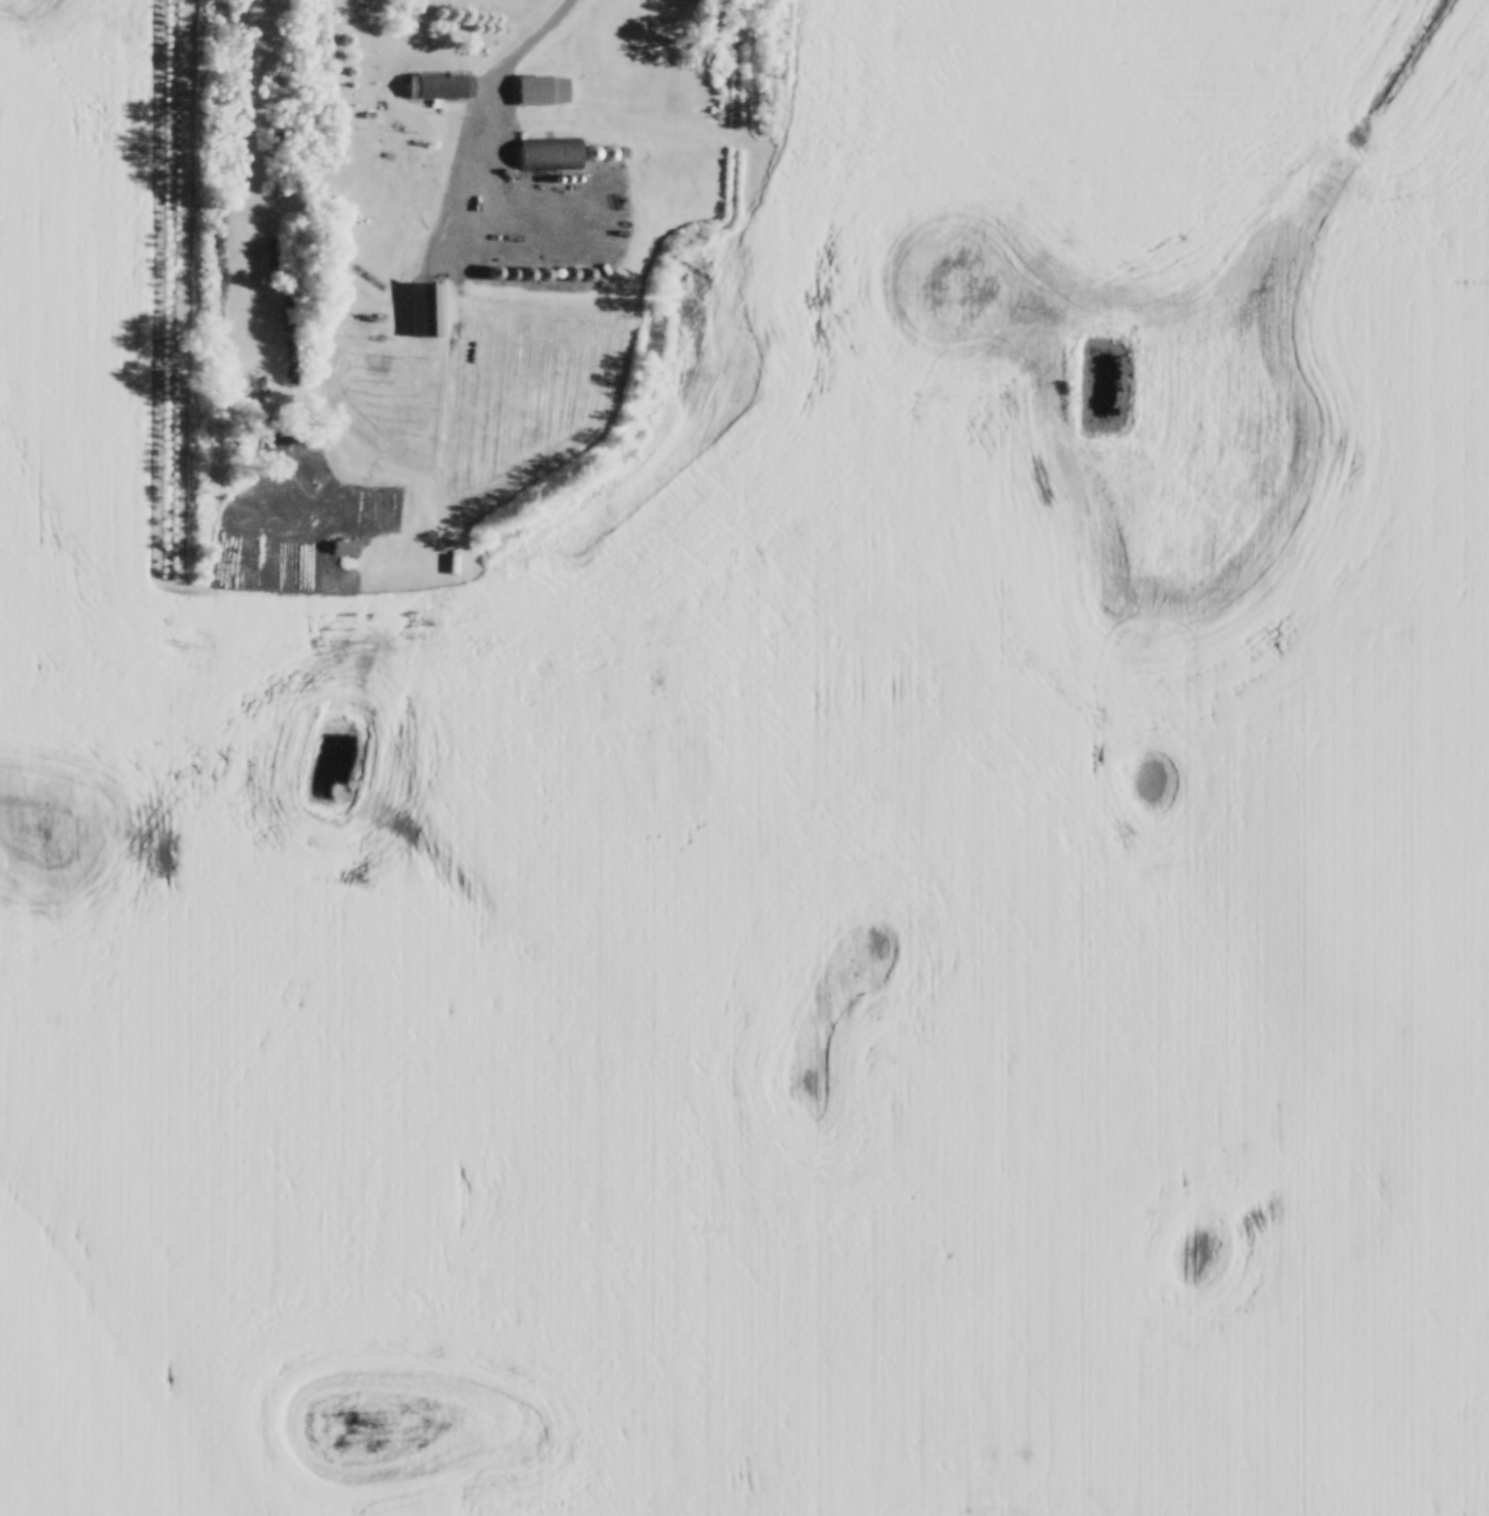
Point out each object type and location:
building: (438, 87)
building: (541, 91)
road: (474, 125)
building: (548, 154)
building: (428, 312)
building: (342, 549)

